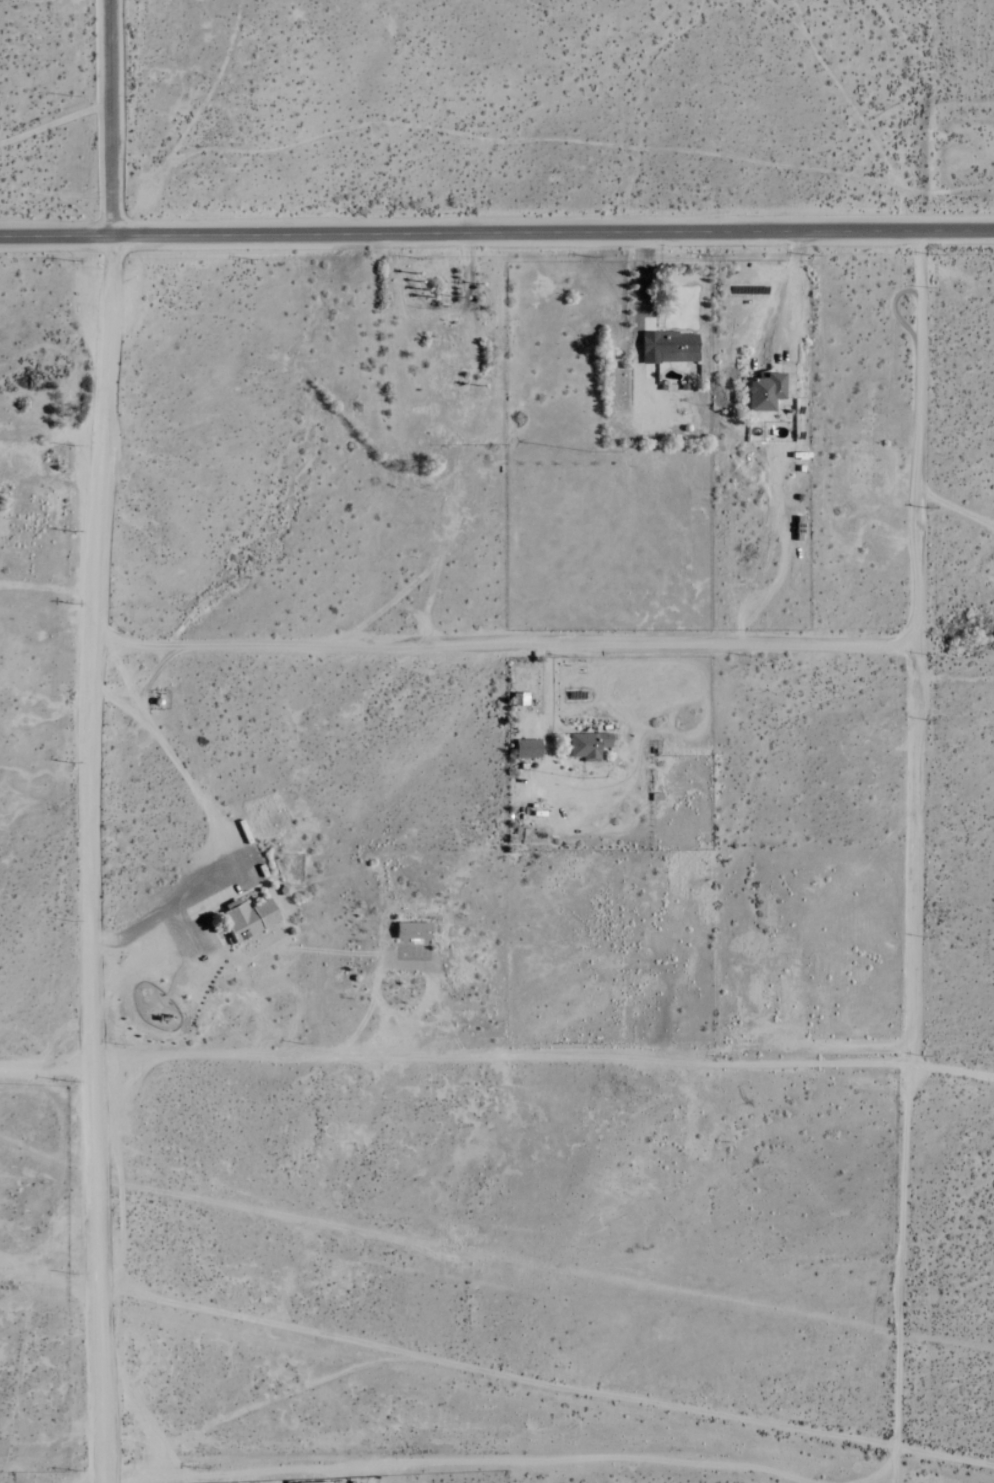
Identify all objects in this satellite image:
road: (109, 119)
road: (497, 234)
road: (789, 295)
road: (639, 321)
building: (670, 348)
building: (766, 392)
road: (953, 506)
road: (505, 644)
road: (546, 696)
building: (589, 746)
building: (528, 749)
road: (223, 829)
road: (914, 856)
road: (95, 860)
building: (413, 931)
road: (405, 964)
road: (501, 1054)
road: (953, 1059)
road: (45, 1065)

